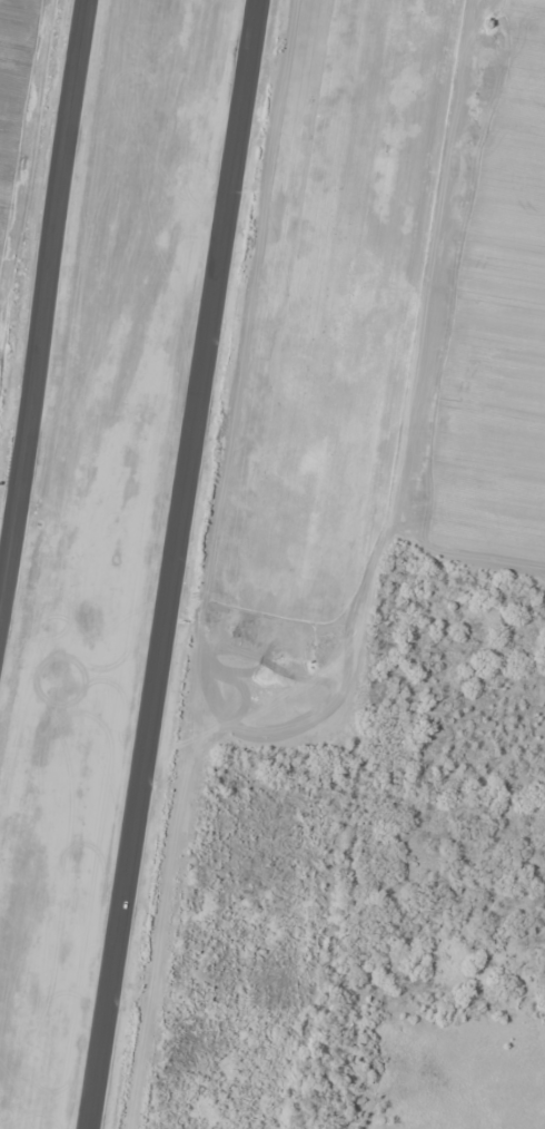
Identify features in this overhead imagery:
road: (42, 303)
road: (170, 563)

